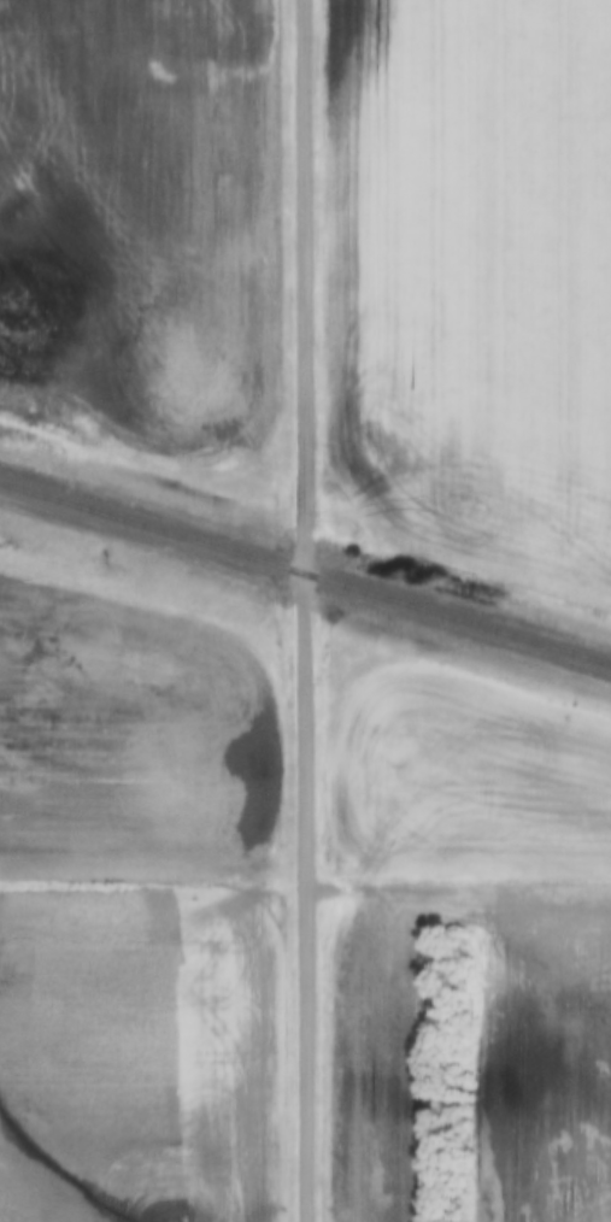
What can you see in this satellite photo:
crop: (476, 276)
railway: (305, 577)
road: (301, 611)
crop: (465, 771)

